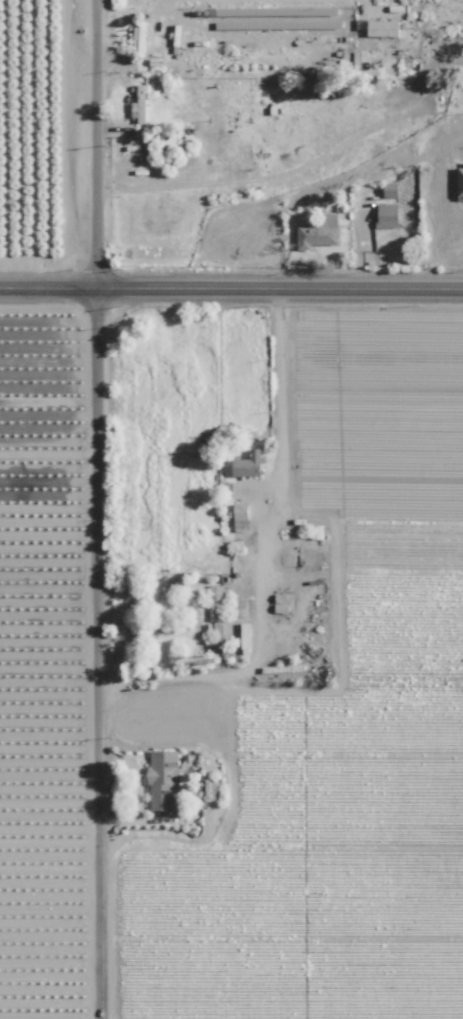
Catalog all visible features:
building: (382, 28)
building: (138, 38)
building: (137, 103)
crop: (33, 122)
building: (459, 183)
building: (389, 189)
building: (386, 215)
building: (318, 233)
road: (231, 284)
road: (50, 453)
building: (247, 464)
road: (276, 466)
road: (100, 509)
building: (214, 602)
building: (216, 635)
building: (161, 778)
building: (209, 789)

